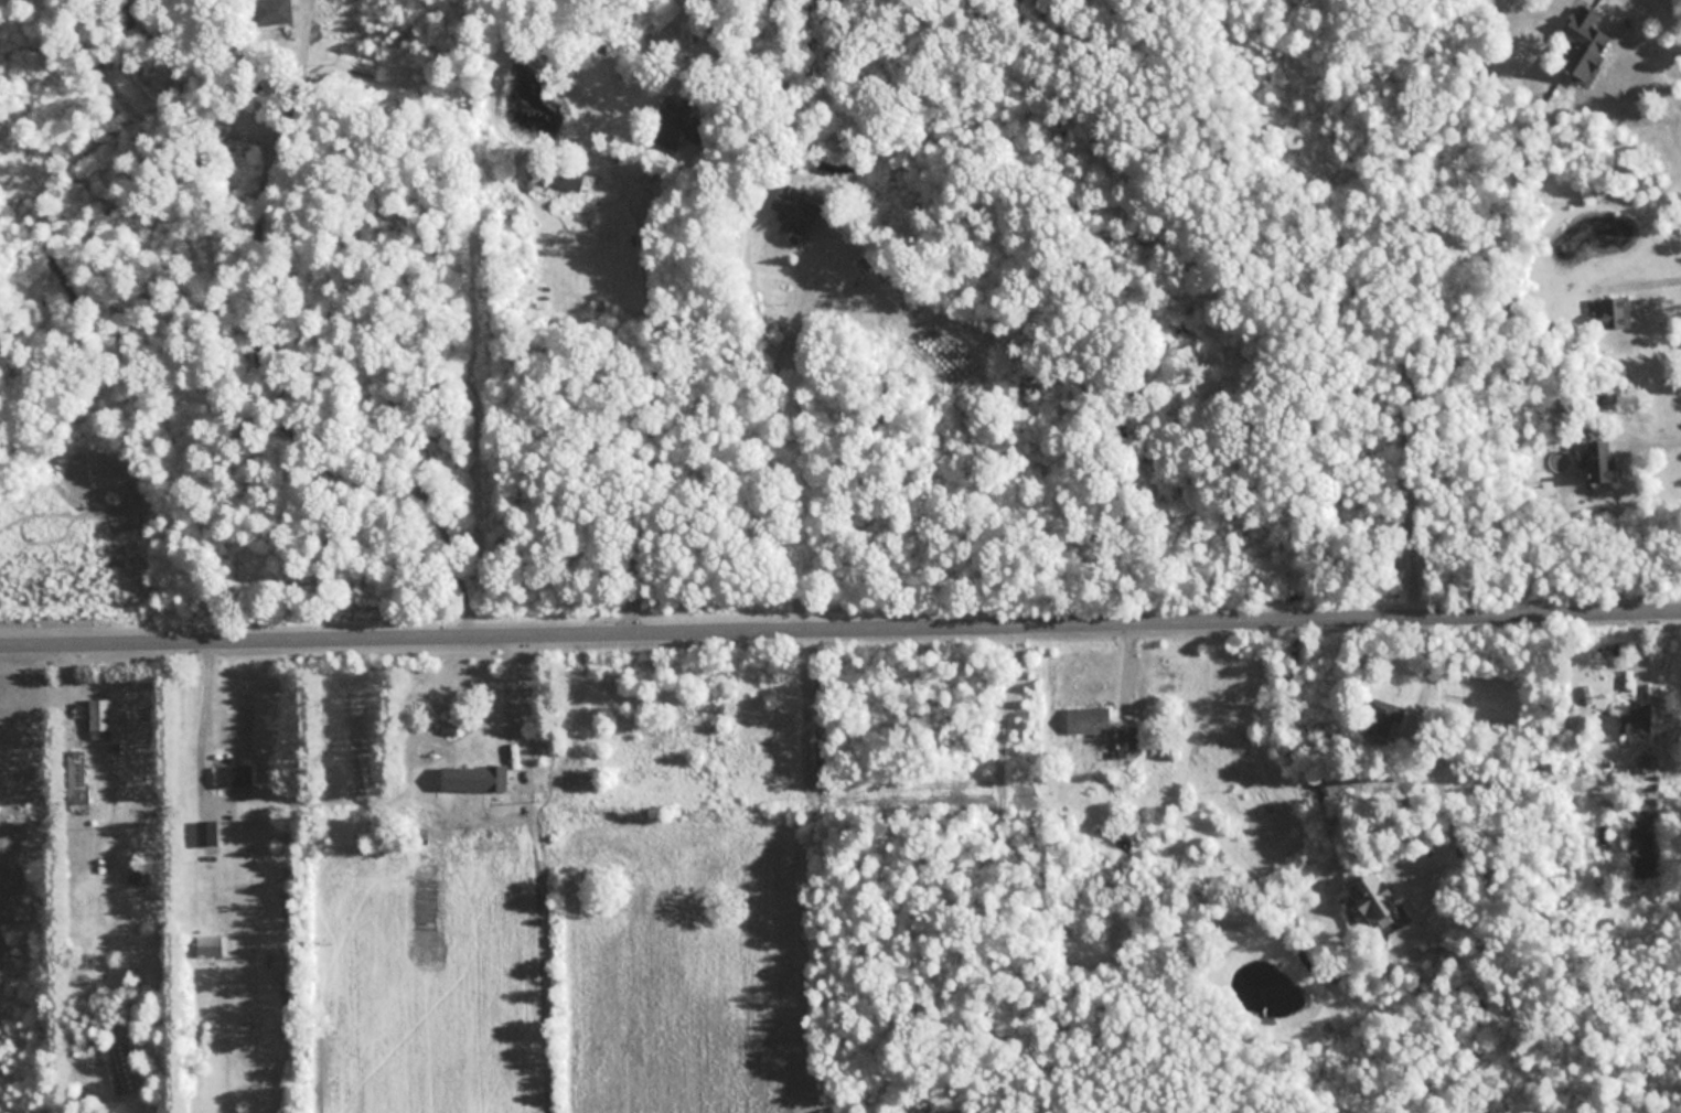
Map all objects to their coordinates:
building: (270, 12)
road: (1630, 24)
road: (1647, 24)
building: (1585, 43)
road: (1663, 71)
building: (678, 125)
building: (561, 173)
building: (794, 214)
building: (1616, 312)
building: (1598, 461)
road: (840, 640)
building: (1380, 716)
building: (100, 717)
building: (1089, 720)
building: (1628, 720)
road: (201, 729)
building: (1126, 741)
building: (484, 756)
road: (1424, 762)
building: (77, 775)
building: (234, 775)
building: (206, 833)
building: (1605, 834)
building: (1375, 901)
building: (210, 945)

